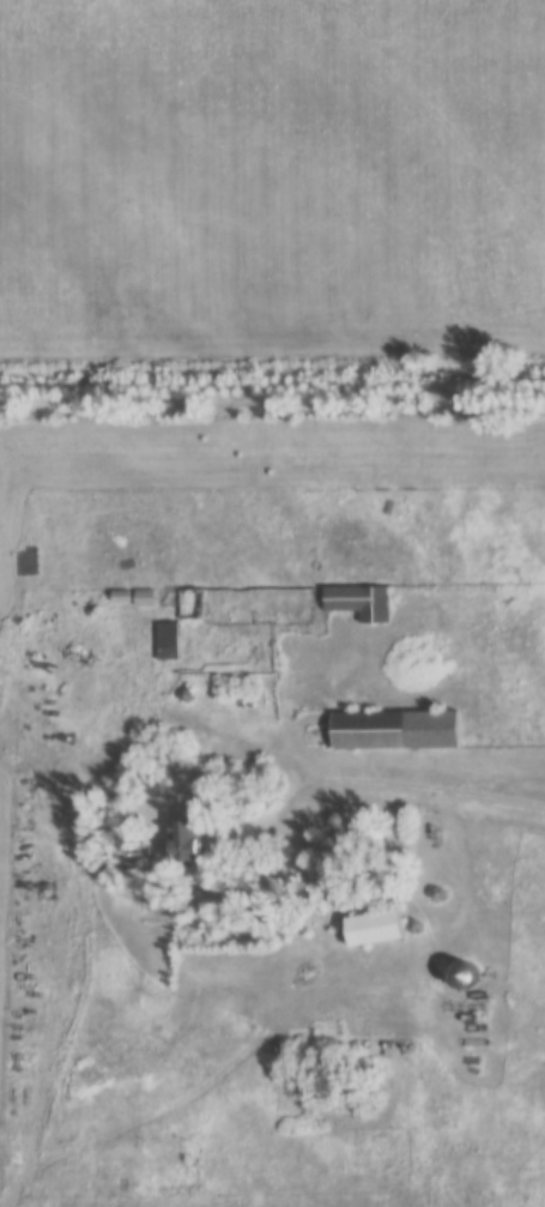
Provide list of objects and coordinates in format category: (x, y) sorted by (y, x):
road: (271, 476)
building: (143, 599)
building: (358, 601)
building: (182, 604)
building: (166, 640)
building: (395, 729)
road: (406, 784)
building: (182, 841)
building: (374, 928)
building: (462, 973)
road: (315, 989)

